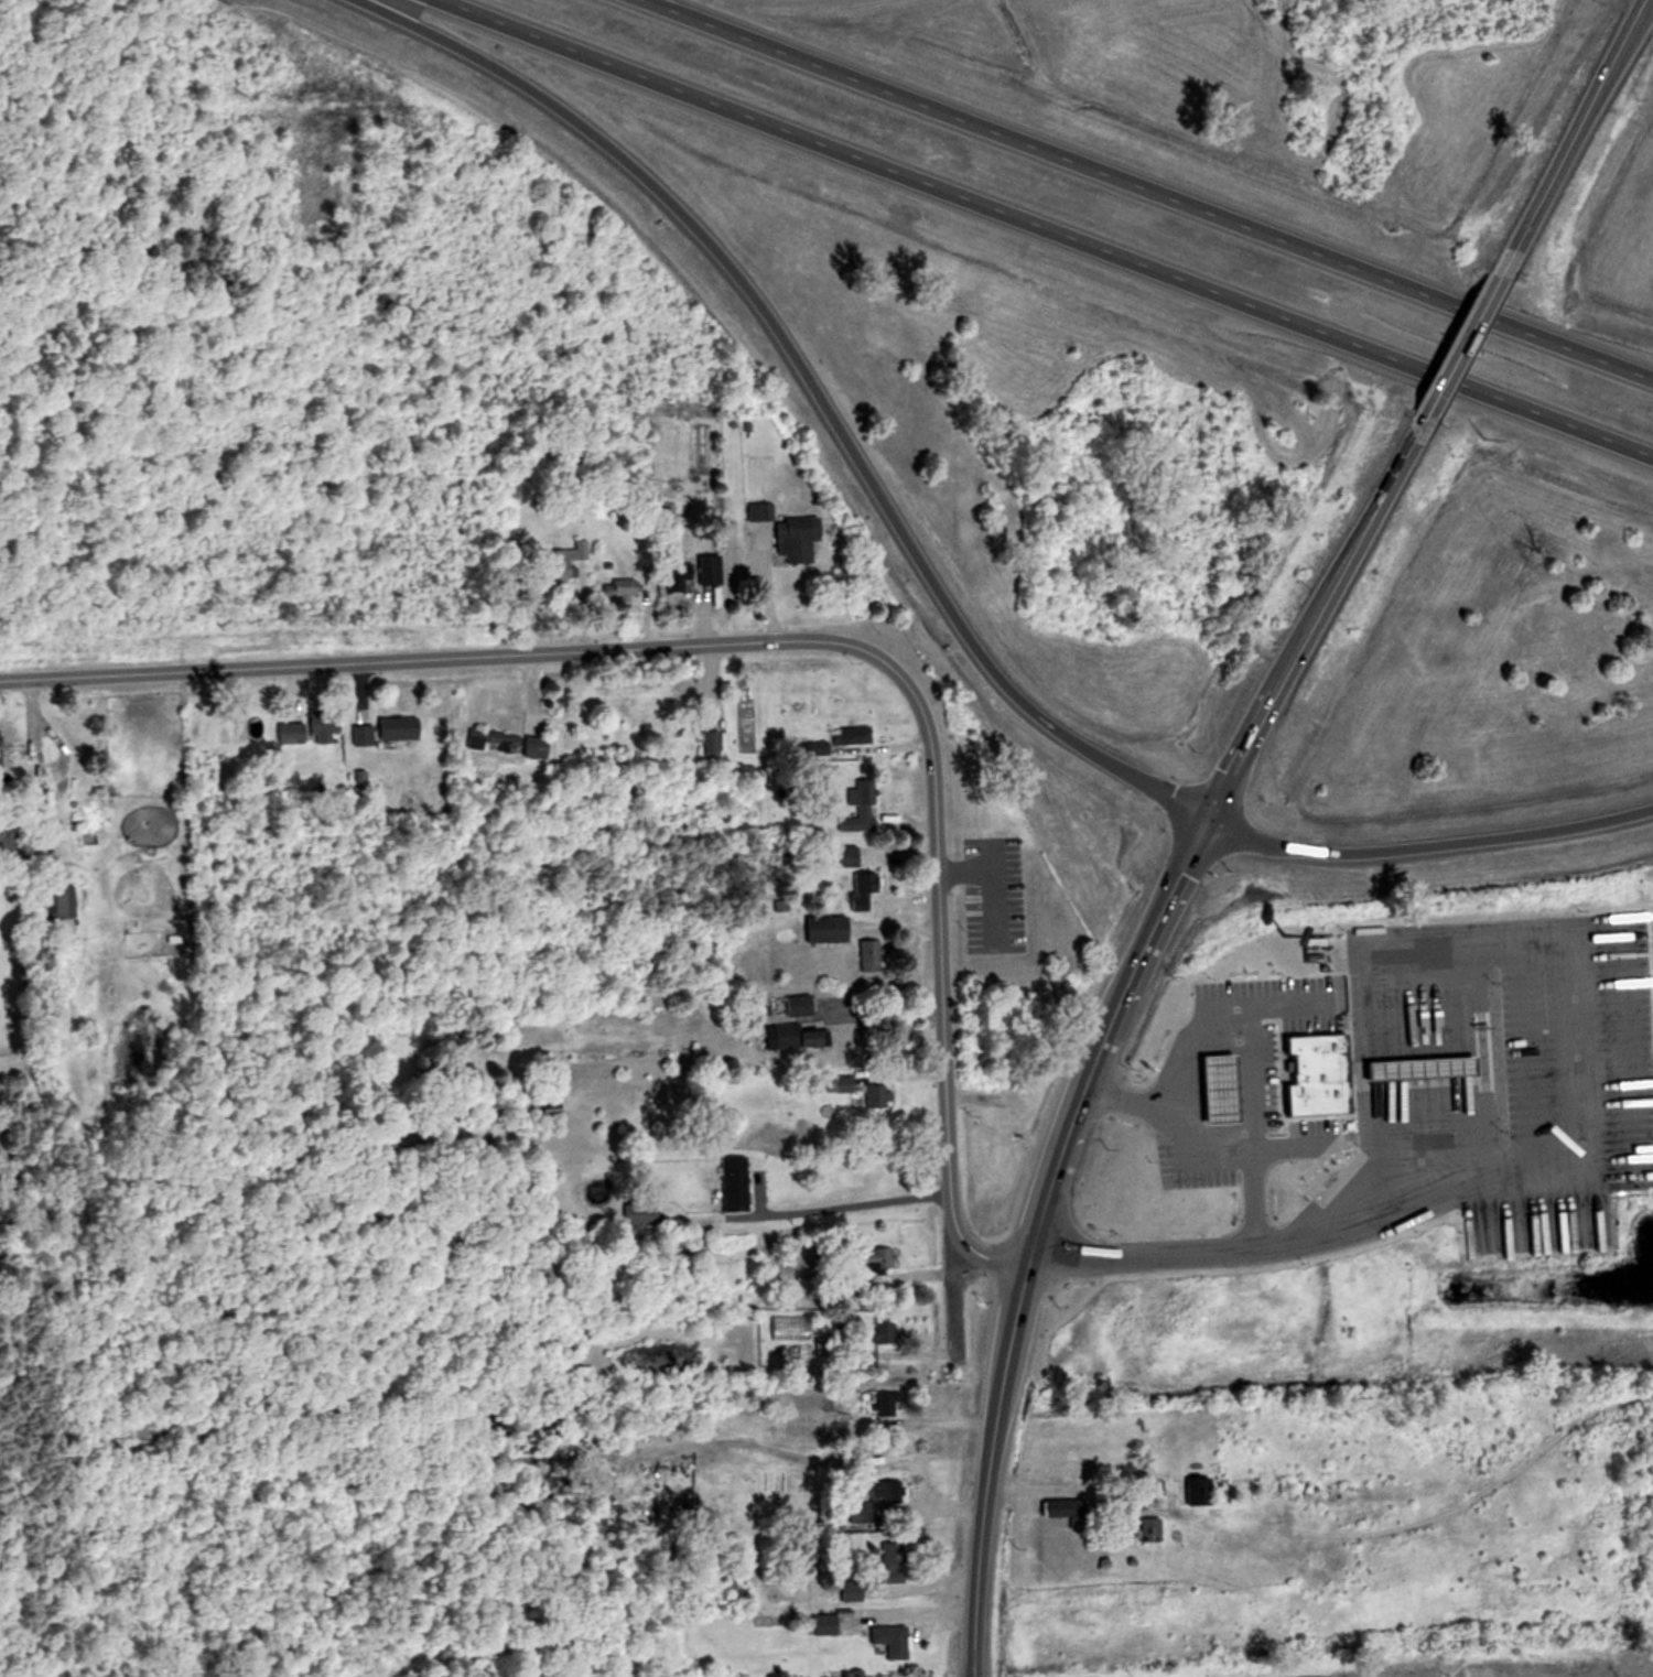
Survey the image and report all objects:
road: (1570, 140)
road: (1142, 193)
road: (1041, 229)
road: (1465, 349)
road: (804, 385)
building: (758, 511)
building: (801, 538)
building: (715, 573)
building: (681, 576)
road: (774, 645)
building: (403, 727)
building: (325, 729)
building: (1, 738)
building: (508, 743)
building: (860, 816)
road: (1426, 847)
road: (992, 856)
road: (992, 874)
building: (866, 885)
building: (67, 900)
building: (829, 929)
building: (873, 955)
building: (802, 1005)
road: (886, 1009)
road: (1110, 1017)
building: (802, 1037)
road: (1191, 1045)
building: (1418, 1067)
building: (1317, 1074)
building: (1217, 1088)
building: (880, 1096)
road: (1588, 1114)
road: (1189, 1161)
building: (738, 1182)
road: (857, 1205)
building: (645, 1212)
building: (880, 1256)
road: (1141, 1257)
building: (885, 1332)
building: (833, 1344)
building: (795, 1351)
building: (886, 1405)
road: (1081, 1486)
building: (892, 1493)
building: (1062, 1507)
road: (928, 1615)
building: (895, 1641)

